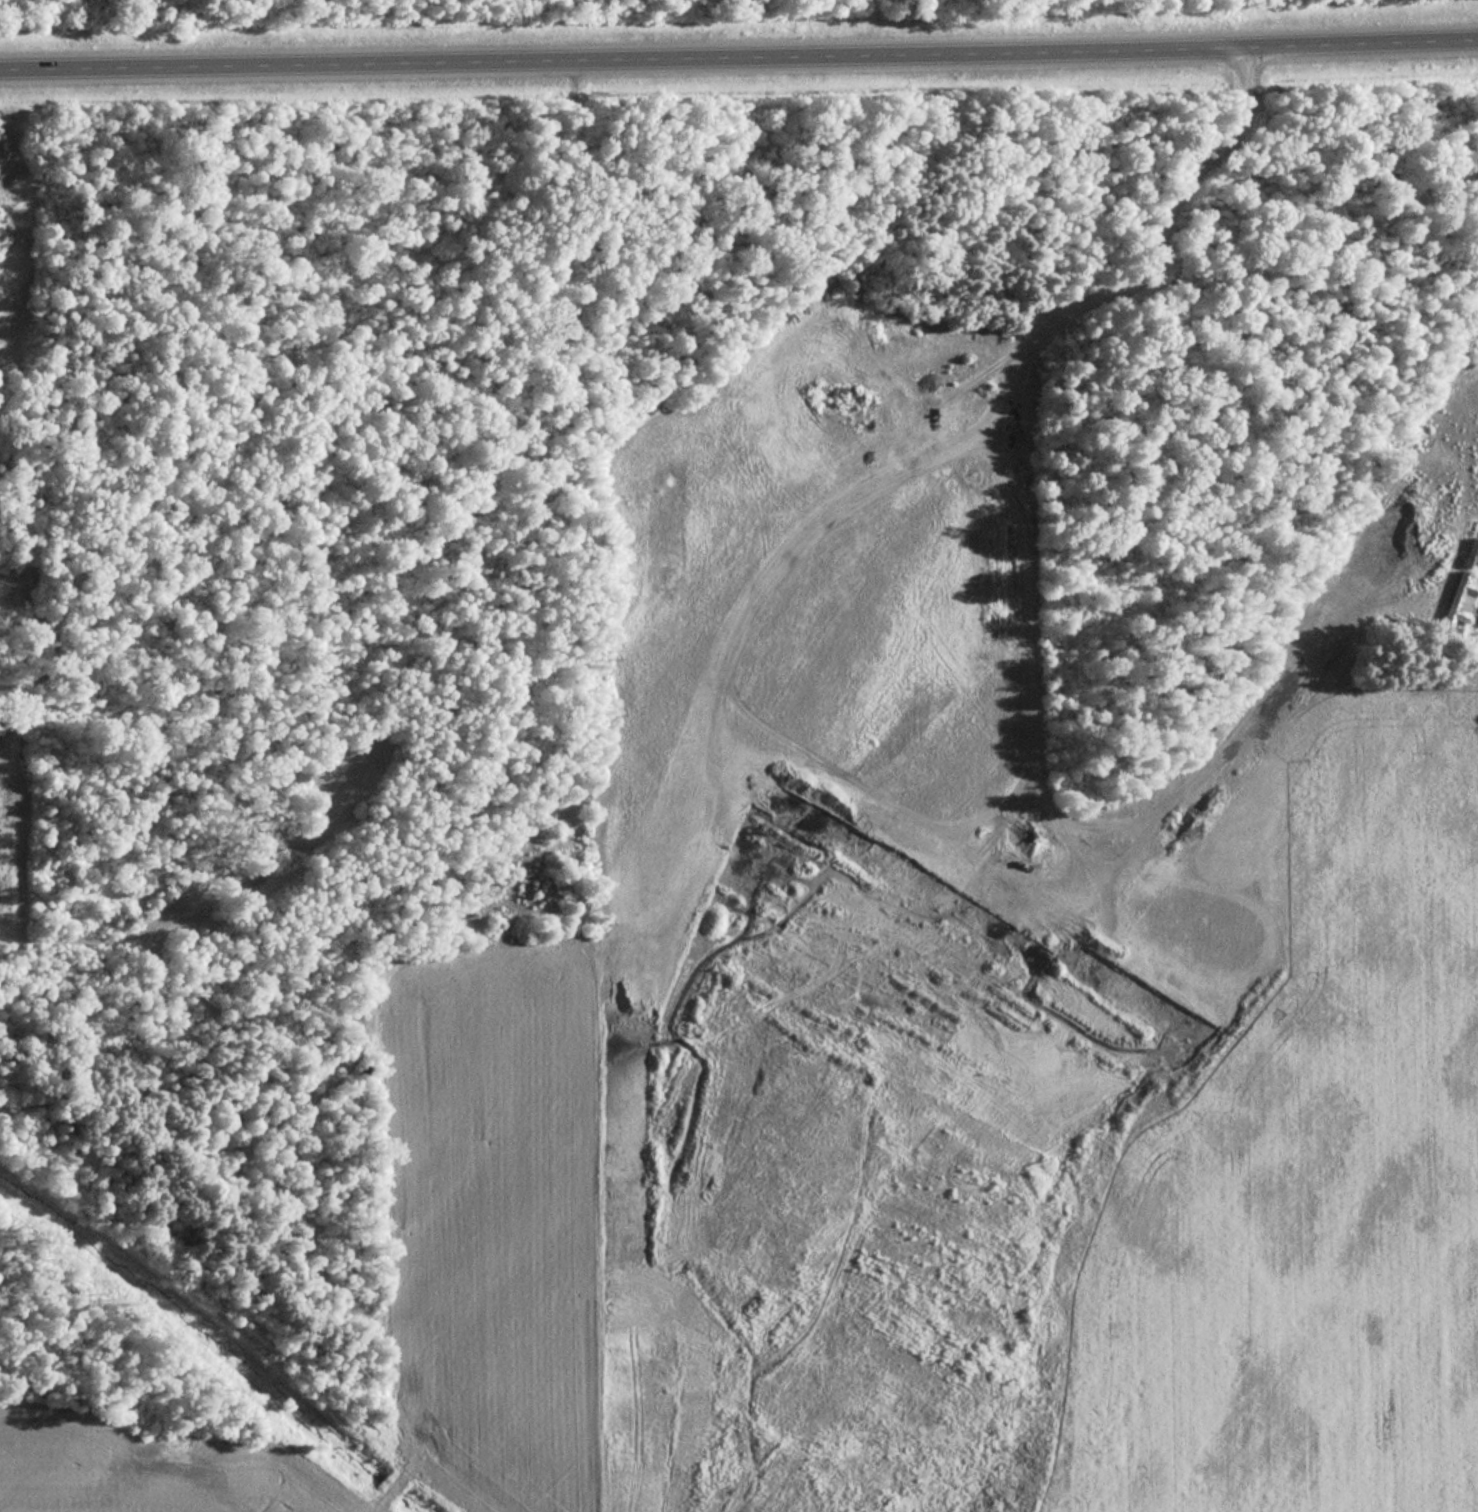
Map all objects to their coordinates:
road: (1401, 44)
road: (662, 62)
building: (1470, 554)
building: (1456, 602)
building: (1, 731)

